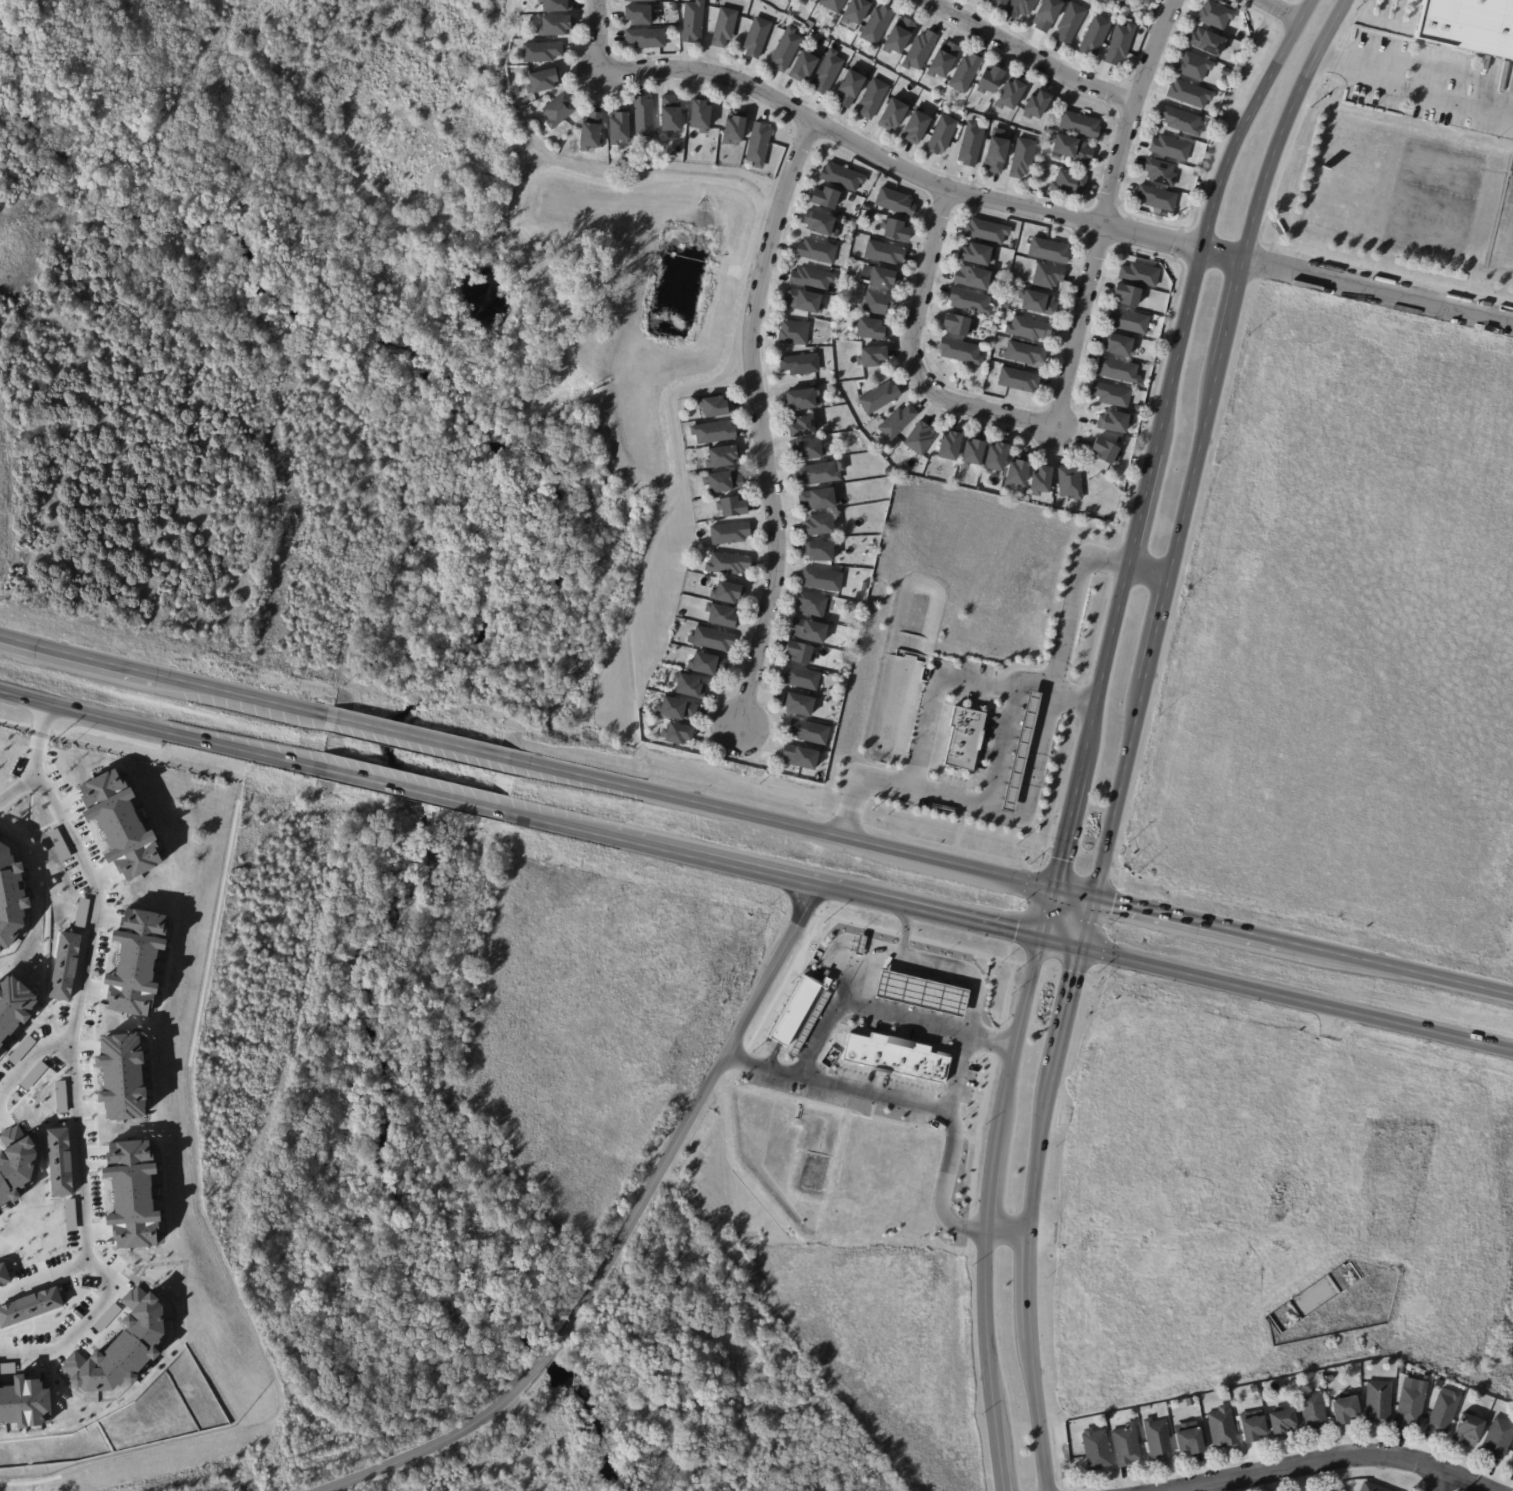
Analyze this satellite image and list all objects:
building: (785, 0)
building: (639, 1)
building: (1122, 1)
building: (1148, 2)
building: (1128, 3)
road: (1271, 3)
building: (999, 4)
building: (833, 5)
building: (556, 6)
building: (1021, 8)
road: (1279, 11)
building: (856, 12)
building: (1047, 15)
building: (639, 16)
building: (1216, 16)
building: (1468, 21)
building: (693, 23)
building: (1071, 23)
building: (810, 25)
building: (876, 26)
building: (555, 27)
building: (724, 28)
building: (1095, 37)
building: (757, 38)
building: (899, 38)
building: (645, 39)
building: (1207, 44)
building: (1120, 45)
road: (1037, 50)
building: (785, 51)
building: (920, 52)
building: (541, 53)
building: (943, 61)
building: (804, 67)
building: (1194, 68)
road: (673, 69)
building: (827, 73)
building: (965, 74)
road: (503, 77)
building: (543, 80)
building: (991, 82)
building: (849, 90)
road: (1411, 92)
building: (1190, 95)
building: (1011, 97)
building: (873, 99)
building: (1037, 108)
building: (558, 109)
building: (1020, 114)
building: (670, 115)
building: (699, 115)
building: (643, 116)
building: (893, 116)
building: (988, 116)
building: (1181, 122)
building: (618, 126)
building: (1080, 126)
building: (733, 128)
building: (916, 128)
building: (590, 131)
building: (942, 136)
building: (758, 144)
building: (971, 146)
building: (1171, 150)
building: (1072, 151)
building: (997, 156)
building: (1022, 159)
building: (1160, 174)
building: (1196, 174)
building: (842, 177)
building: (1069, 185)
building: (863, 195)
building: (826, 197)
road: (999, 198)
road: (512, 199)
building: (1157, 200)
building: (895, 202)
road: (1106, 208)
building: (869, 216)
building: (818, 222)
building: (895, 229)
building: (986, 233)
building: (1011, 248)
building: (817, 251)
building: (884, 253)
building: (1049, 253)
building: (976, 256)
building: (1139, 275)
building: (883, 278)
building: (1048, 278)
building: (812, 279)
building: (973, 280)
road: (1238, 283)
road: (1359, 283)
building: (1127, 295)
building: (804, 300)
building: (878, 303)
building: (970, 303)
building: (1038, 305)
building: (1006, 306)
building: (1129, 321)
building: (871, 328)
building: (957, 328)
building: (1029, 330)
building: (794, 333)
building: (1118, 344)
building: (960, 352)
road: (911, 354)
building: (1025, 355)
building: (872, 356)
building: (800, 364)
building: (1118, 370)
road: (1173, 370)
building: (1018, 382)
road: (719, 384)
building: (1112, 395)
building: (880, 398)
building: (801, 399)
building: (715, 407)
road: (760, 422)
building: (897, 422)
building: (1115, 422)
building: (802, 427)
building: (714, 432)
building: (919, 439)
building: (950, 446)
building: (808, 450)
building: (1106, 451)
building: (973, 453)
building: (722, 456)
building: (996, 458)
building: (888, 472)
building: (1017, 472)
building: (817, 474)
building: (1041, 481)
building: (723, 482)
building: (1070, 483)
building: (818, 499)
building: (731, 507)
building: (818, 525)
building: (729, 533)
building: (819, 551)
building: (728, 564)
road: (1148, 574)
building: (822, 580)
building: (864, 587)
building: (728, 594)
building: (812, 605)
building: (680, 615)
building: (722, 617)
road: (1157, 628)
building: (808, 632)
building: (711, 640)
building: (799, 654)
road: (72, 655)
building: (708, 665)
building: (800, 678)
building: (688, 687)
road: (235, 694)
road: (936, 699)
road: (1006, 703)
building: (798, 705)
building: (676, 710)
road: (155, 732)
building: (809, 732)
building: (676, 735)
building: (1022, 737)
road: (418, 738)
building: (967, 739)
road: (42, 742)
building: (1024, 752)
gas station: (1024, 752)
building: (800, 758)
road: (1029, 781)
road: (16, 788)
road: (405, 789)
road: (1120, 789)
building: (1007, 804)
building: (121, 824)
road: (553, 824)
road: (783, 825)
road: (1068, 825)
road: (824, 888)
traffic signals: (1053, 891)
road: (1073, 895)
building: (11, 897)
traffic signals: (1094, 900)
road: (1047, 916)
road: (1187, 921)
road: (1087, 925)
traffic signals: (1041, 941)
road: (1061, 945)
traffic signals: (1081, 950)
building: (137, 962)
building: (65, 966)
road: (967, 968)
road: (1396, 970)
building: (925, 993)
gas station: (925, 993)
road: (1297, 1000)
building: (14, 1006)
road: (76, 1011)
building: (795, 1011)
road: (839, 1014)
road: (1066, 1015)
road: (939, 1022)
building: (895, 1055)
road: (25, 1063)
road: (958, 1069)
building: (123, 1076)
road: (948, 1110)
building: (59, 1162)
building: (16, 1169)
building: (134, 1193)
road: (988, 1213)
road: (1008, 1228)
road: (617, 1241)
road: (218, 1253)
building: (4, 1275)
road: (42, 1280)
road: (1028, 1285)
building: (30, 1306)
road: (82, 1327)
building: (122, 1347)
building: (1403, 1367)
building: (1329, 1378)
building: (1457, 1386)
building: (1254, 1389)
building: (26, 1402)
building: (1379, 1403)
building: (1497, 1404)
building: (1412, 1407)
building: (1314, 1411)
building: (1346, 1411)
building: (1444, 1412)
building: (1283, 1423)
building: (1222, 1429)
building: (1254, 1429)
building: (1469, 1430)
building: (1158, 1440)
building: (1499, 1440)
building: (1191, 1441)
building: (1126, 1445)
building: (1097, 1450)
building: (1512, 1463)
road: (1319, 1465)
road: (1442, 1485)
building: (1373, 1487)

